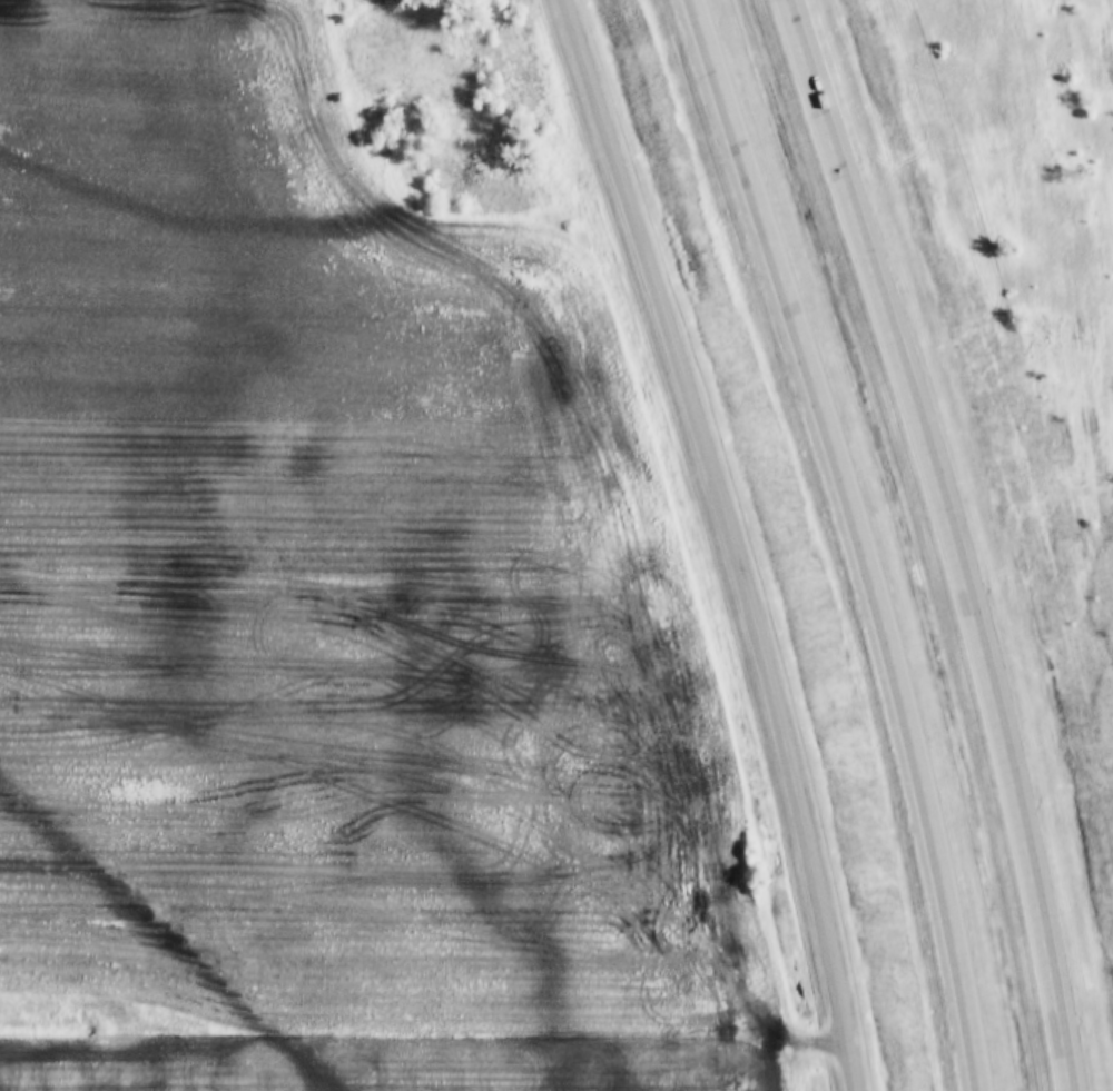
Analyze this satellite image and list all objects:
road: (729, 539)
road: (857, 539)
road: (948, 539)
crop: (327, 549)
crop: (392, 1035)

